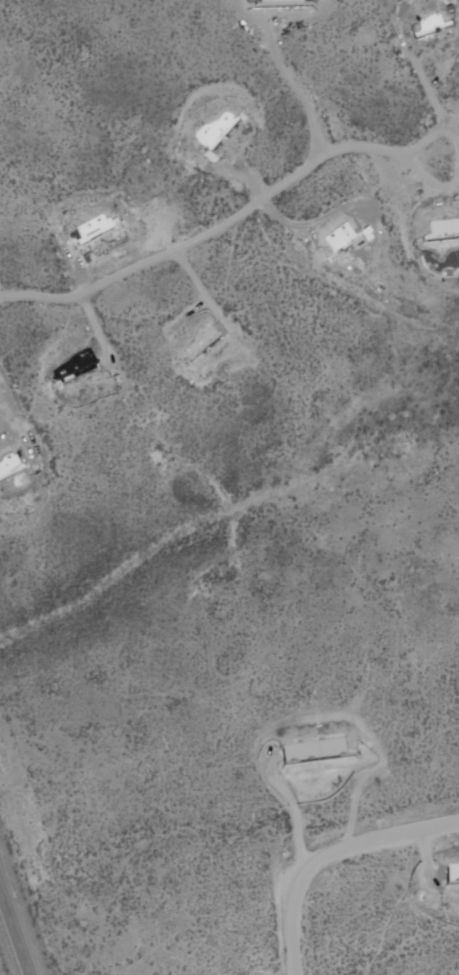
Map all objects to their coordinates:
building: (282, 2)
building: (430, 18)
road: (426, 89)
building: (214, 132)
road: (454, 137)
road: (238, 175)
road: (425, 176)
road: (433, 191)
building: (458, 201)
road: (406, 204)
road: (237, 216)
road: (315, 222)
building: (440, 228)
building: (93, 229)
building: (340, 238)
building: (455, 256)
road: (78, 270)
road: (202, 291)
road: (94, 326)
building: (201, 342)
building: (76, 366)
road: (22, 427)
road: (10, 430)
road: (2, 433)
building: (9, 467)
building: (316, 748)
road: (326, 854)
building: (454, 870)
road: (16, 927)

